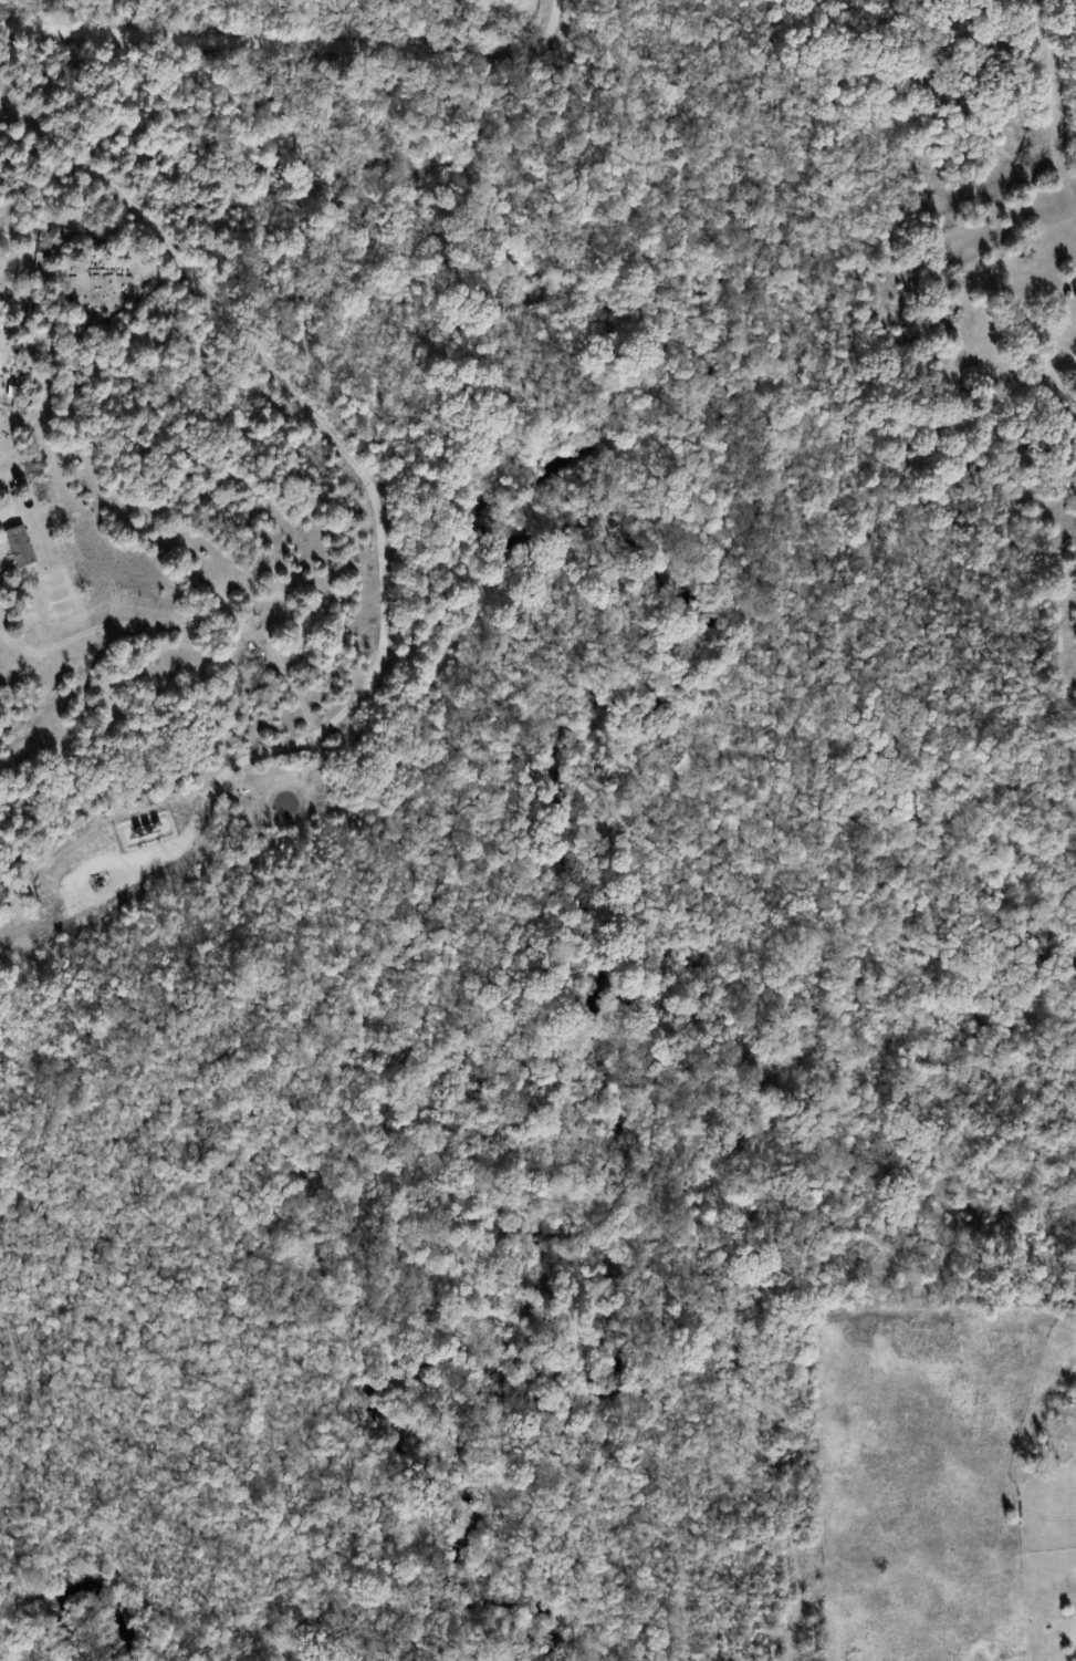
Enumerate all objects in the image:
road: (299, 42)
road: (1054, 110)
building: (1043, 361)
building: (18, 546)
road: (25, 645)

